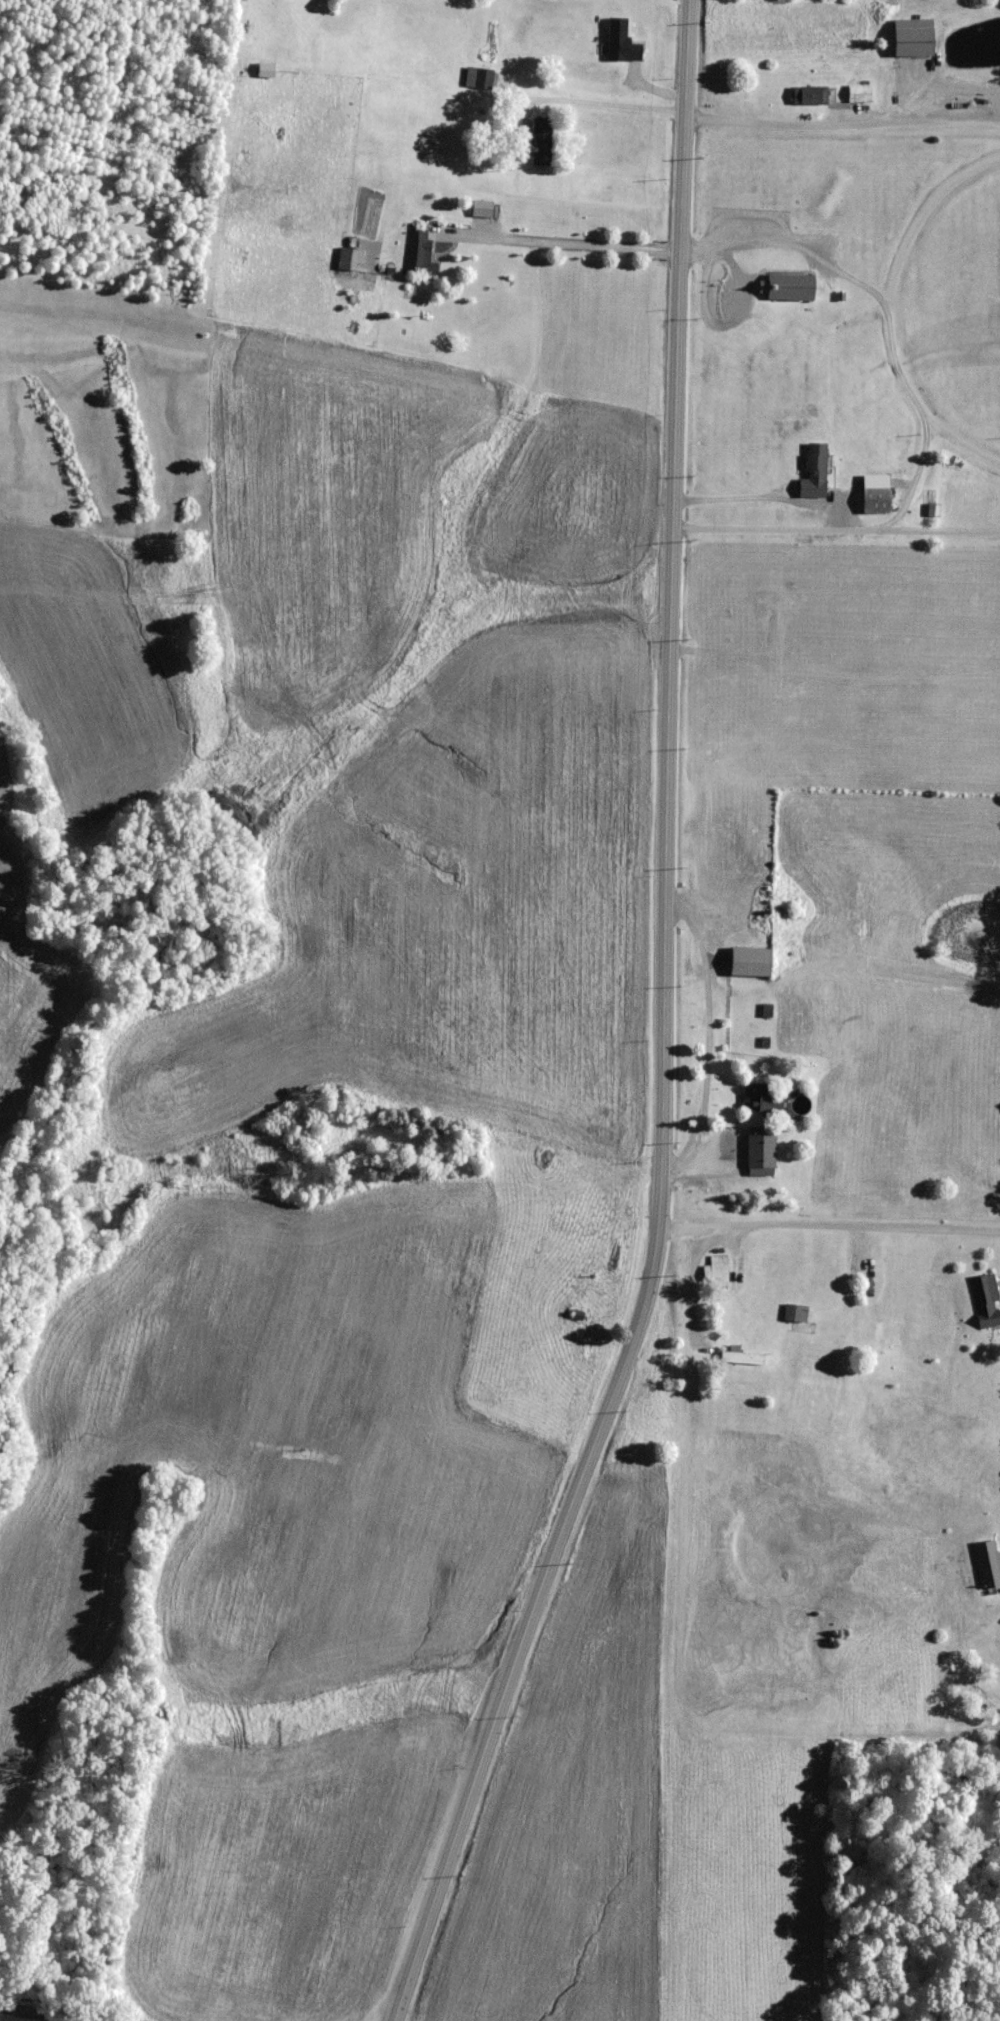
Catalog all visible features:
building: (912, 39)
building: (620, 43)
building: (477, 79)
building: (809, 95)
building: (858, 95)
road: (612, 105)
road: (842, 127)
building: (540, 142)
road: (568, 244)
building: (417, 254)
building: (787, 288)
building: (815, 463)
building: (876, 498)
building: (749, 961)
road: (663, 1031)
building: (759, 1098)
building: (760, 1152)
road: (828, 1228)
building: (714, 1271)
building: (984, 1301)
building: (794, 1314)
building: (739, 1358)
building: (986, 1564)
road: (48, 2010)

